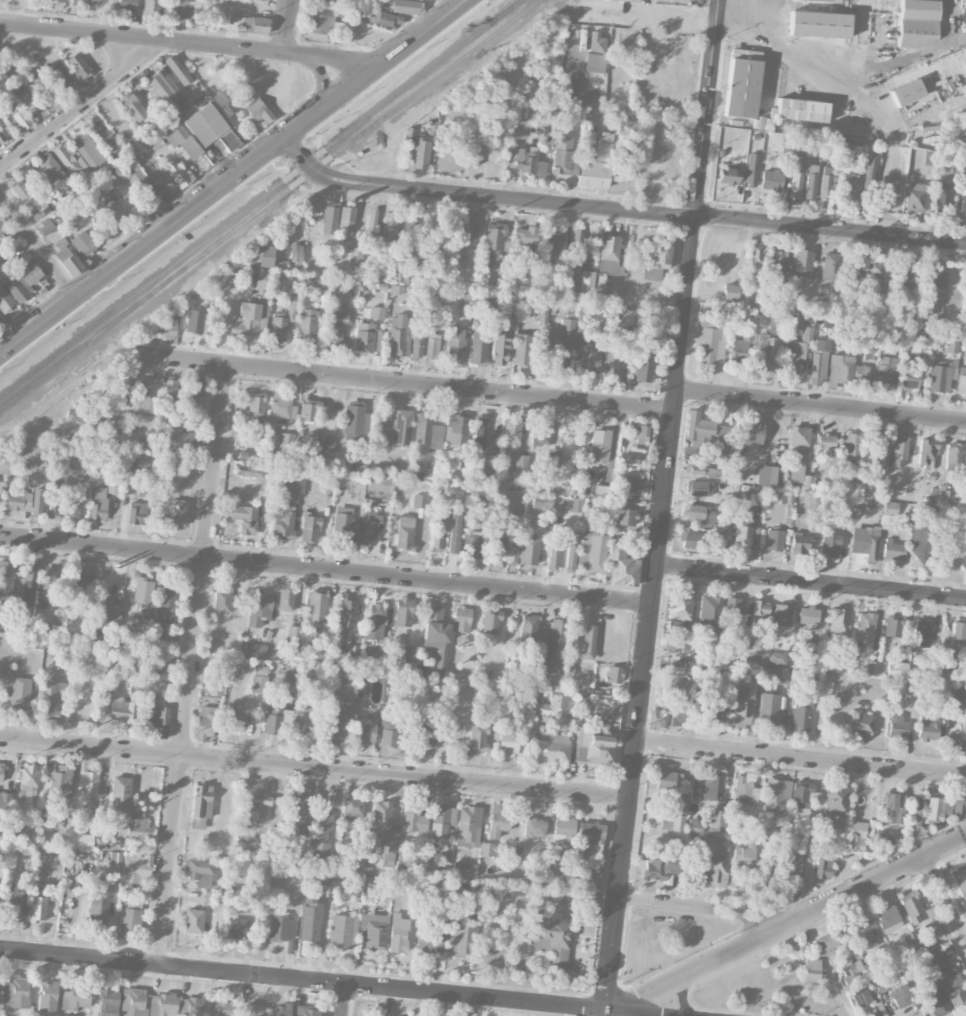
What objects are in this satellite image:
building: (61, 0)
building: (326, 0)
building: (817, 0)
building: (623, 1)
building: (81, 2)
building: (128, 6)
building: (404, 6)
building: (151, 7)
building: (184, 9)
railway: (505, 11)
road: (763, 14)
road: (652, 17)
building: (384, 19)
building: (253, 22)
building: (320, 23)
building: (917, 23)
building: (818, 24)
road: (286, 27)
building: (317, 36)
road: (181, 42)
road: (410, 42)
building: (597, 42)
building: (594, 63)
building: (78, 66)
building: (178, 70)
building: (58, 73)
road: (845, 83)
building: (44, 84)
building: (166, 84)
building: (741, 88)
building: (906, 92)
building: (27, 100)
building: (223, 103)
building: (133, 106)
building: (183, 106)
road: (76, 109)
building: (257, 110)
building: (801, 110)
building: (14, 113)
building: (206, 124)
building: (2, 135)
railway: (354, 137)
building: (102, 138)
building: (181, 139)
building: (230, 141)
building: (156, 142)
building: (88, 151)
building: (419, 154)
building: (470, 155)
building: (564, 156)
building: (928, 158)
building: (69, 159)
building: (525, 161)
building: (597, 164)
building: (49, 167)
building: (751, 169)
building: (868, 171)
building: (178, 173)
building: (660, 173)
building: (727, 175)
building: (771, 180)
building: (810, 181)
building: (795, 184)
building: (824, 185)
building: (848, 187)
building: (144, 189)
building: (20, 190)
railway: (259, 197)
building: (913, 197)
building: (941, 198)
building: (963, 198)
road: (617, 210)
building: (112, 215)
building: (329, 218)
building: (372, 218)
road: (177, 219)
building: (0, 223)
building: (346, 223)
building: (388, 224)
building: (45, 227)
building: (412, 229)
building: (468, 229)
building: (525, 238)
building: (60, 243)
building: (553, 243)
building: (83, 244)
building: (576, 245)
road: (38, 246)
building: (496, 246)
building: (296, 252)
building: (63, 253)
building: (608, 253)
building: (265, 256)
building: (355, 256)
building: (754, 257)
building: (657, 261)
building: (777, 261)
building: (802, 263)
building: (70, 264)
building: (831, 266)
building: (851, 268)
building: (906, 272)
building: (400, 275)
building: (874, 276)
building: (935, 278)
building: (245, 279)
building: (21, 280)
building: (265, 280)
building: (315, 282)
building: (603, 284)
building: (396, 288)
building: (729, 291)
building: (5, 300)
building: (486, 302)
building: (377, 312)
building: (540, 314)
building: (627, 316)
building: (194, 321)
building: (282, 321)
building: (245, 322)
building: (169, 323)
building: (306, 326)
building: (335, 327)
building: (397, 336)
building: (364, 337)
building: (711, 338)
railway: (86, 341)
building: (416, 343)
building: (455, 343)
building: (559, 344)
building: (432, 346)
building: (500, 347)
building: (478, 348)
building: (522, 349)
building: (738, 350)
building: (586, 351)
building: (764, 353)
building: (796, 353)
building: (610, 364)
building: (643, 364)
building: (819, 364)
building: (791, 368)
building: (887, 370)
building: (861, 374)
building: (909, 375)
building: (941, 375)
building: (961, 381)
road: (402, 383)
building: (170, 386)
building: (195, 386)
building: (141, 397)
building: (255, 405)
building: (281, 406)
road: (821, 406)
building: (79, 409)
building: (308, 409)
building: (353, 417)
building: (398, 428)
building: (697, 429)
building: (722, 431)
building: (480, 433)
building: (638, 433)
building: (427, 434)
building: (540, 435)
building: (747, 435)
building: (511, 436)
building: (826, 441)
building: (179, 442)
building: (286, 445)
building: (599, 447)
building: (322, 450)
building: (851, 451)
building: (899, 451)
building: (925, 452)
building: (953, 453)
building: (797, 454)
building: (115, 456)
building: (553, 457)
building: (882, 457)
building: (964, 458)
building: (141, 459)
building: (130, 461)
building: (249, 470)
building: (703, 471)
building: (520, 473)
building: (768, 476)
building: (0, 483)
building: (379, 484)
building: (295, 485)
building: (630, 486)
building: (699, 488)
building: (604, 493)
building: (19, 499)
building: (38, 501)
building: (542, 501)
building: (98, 503)
building: (73, 504)
building: (561, 504)
building: (420, 505)
building: (575, 505)
building: (54, 507)
road: (662, 507)
building: (137, 513)
building: (177, 513)
building: (700, 514)
building: (888, 515)
building: (624, 516)
building: (245, 519)
building: (283, 522)
building: (344, 524)
building: (369, 527)
building: (309, 529)
building: (438, 530)
building: (745, 531)
building: (404, 533)
building: (463, 540)
building: (691, 540)
building: (774, 540)
building: (921, 541)
building: (800, 542)
building: (864, 542)
building: (496, 544)
building: (830, 544)
building: (592, 547)
building: (512, 549)
building: (529, 550)
building: (893, 550)
building: (553, 553)
building: (570, 558)
building: (621, 566)
road: (326, 571)
building: (30, 578)
building: (6, 579)
building: (47, 580)
building: (79, 580)
road: (811, 583)
building: (143, 589)
building: (166, 596)
building: (285, 597)
building: (222, 601)
building: (731, 605)
building: (680, 606)
building: (259, 608)
building: (316, 608)
building: (346, 611)
building: (403, 611)
building: (710, 611)
building: (760, 612)
building: (108, 613)
building: (377, 613)
building: (782, 614)
building: (808, 615)
building: (161, 616)
building: (461, 619)
building: (491, 622)
building: (839, 623)
building: (892, 626)
building: (528, 628)
building: (678, 628)
building: (865, 629)
building: (958, 632)
building: (436, 636)
building: (923, 636)
building: (293, 638)
building: (588, 642)
building: (671, 647)
building: (555, 648)
building: (685, 649)
building: (254, 650)
building: (353, 650)
building: (410, 653)
building: (777, 657)
road: (191, 665)
building: (872, 668)
building: (896, 669)
building: (944, 671)
building: (675, 673)
building: (613, 674)
building: (780, 676)
building: (159, 677)
building: (259, 679)
building: (290, 679)
building: (910, 685)
building: (215, 686)
building: (345, 691)
building: (20, 692)
building: (963, 697)
building: (50, 698)
building: (552, 706)
building: (741, 706)
building: (709, 709)
building: (768, 709)
building: (122, 710)
building: (667, 713)
building: (801, 714)
building: (154, 716)
building: (276, 719)
building: (233, 720)
building: (205, 722)
building: (303, 722)
building: (859, 723)
building: (332, 725)
building: (897, 725)
building: (447, 726)
building: (927, 727)
building: (363, 730)
building: (961, 734)
building: (424, 736)
building: (478, 736)
building: (388, 738)
building: (507, 742)
building: (592, 747)
building: (551, 748)
road: (801, 758)
road: (315, 769)
building: (1, 772)
building: (667, 780)
building: (28, 781)
building: (61, 781)
building: (88, 786)
building: (703, 787)
building: (745, 790)
building: (776, 793)
building: (120, 794)
building: (801, 794)
building: (836, 800)
building: (959, 803)
building: (4, 805)
building: (200, 805)
building: (259, 805)
building: (893, 808)
building: (937, 808)
building: (352, 809)
building: (295, 810)
building: (413, 818)
building: (498, 819)
building: (672, 820)
building: (914, 821)
building: (441, 823)
building: (468, 826)
building: (384, 827)
building: (534, 827)
building: (139, 829)
building: (563, 831)
building: (320, 833)
building: (777, 835)
building: (857, 836)
building: (589, 838)
building: (81, 840)
building: (884, 842)
building: (488, 849)
building: (808, 854)
building: (744, 856)
building: (712, 862)
building: (793, 867)
building: (823, 867)
building: (464, 869)
building: (551, 869)
building: (135, 871)
building: (765, 871)
building: (199, 872)
building: (582, 873)
building: (321, 878)
building: (960, 881)
road: (945, 899)
building: (13, 901)
building: (250, 901)
building: (911, 906)
building: (98, 908)
building: (38, 909)
road: (704, 910)
building: (310, 917)
building: (129, 918)
building: (193, 921)
road: (787, 925)
building: (236, 927)
building: (278, 928)
building: (930, 928)
building: (343, 931)
building: (374, 931)
building: (398, 933)
building: (862, 936)
building: (909, 936)
building: (459, 937)
building: (429, 939)
building: (552, 941)
building: (825, 942)
building: (935, 957)
building: (813, 971)
road: (326, 983)
building: (883, 983)
building: (858, 986)
building: (952, 987)
building: (15, 992)
building: (901, 996)
building: (47, 997)
building: (76, 997)
road: (342, 1000)
building: (108, 1002)
building: (133, 1002)
building: (936, 1003)
building: (162, 1004)
building: (191, 1006)
building: (223, 1007)
building: (281, 1010)
building: (307, 1011)

